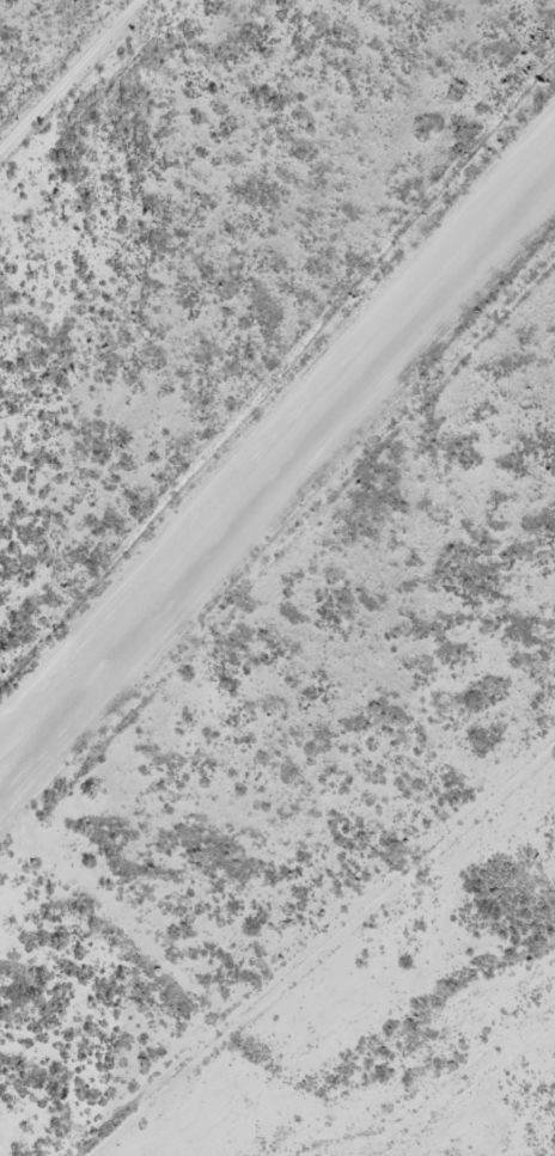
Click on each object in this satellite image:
road: (71, 79)
airport runway: (277, 448)
road: (336, 944)
road: (258, 1003)

